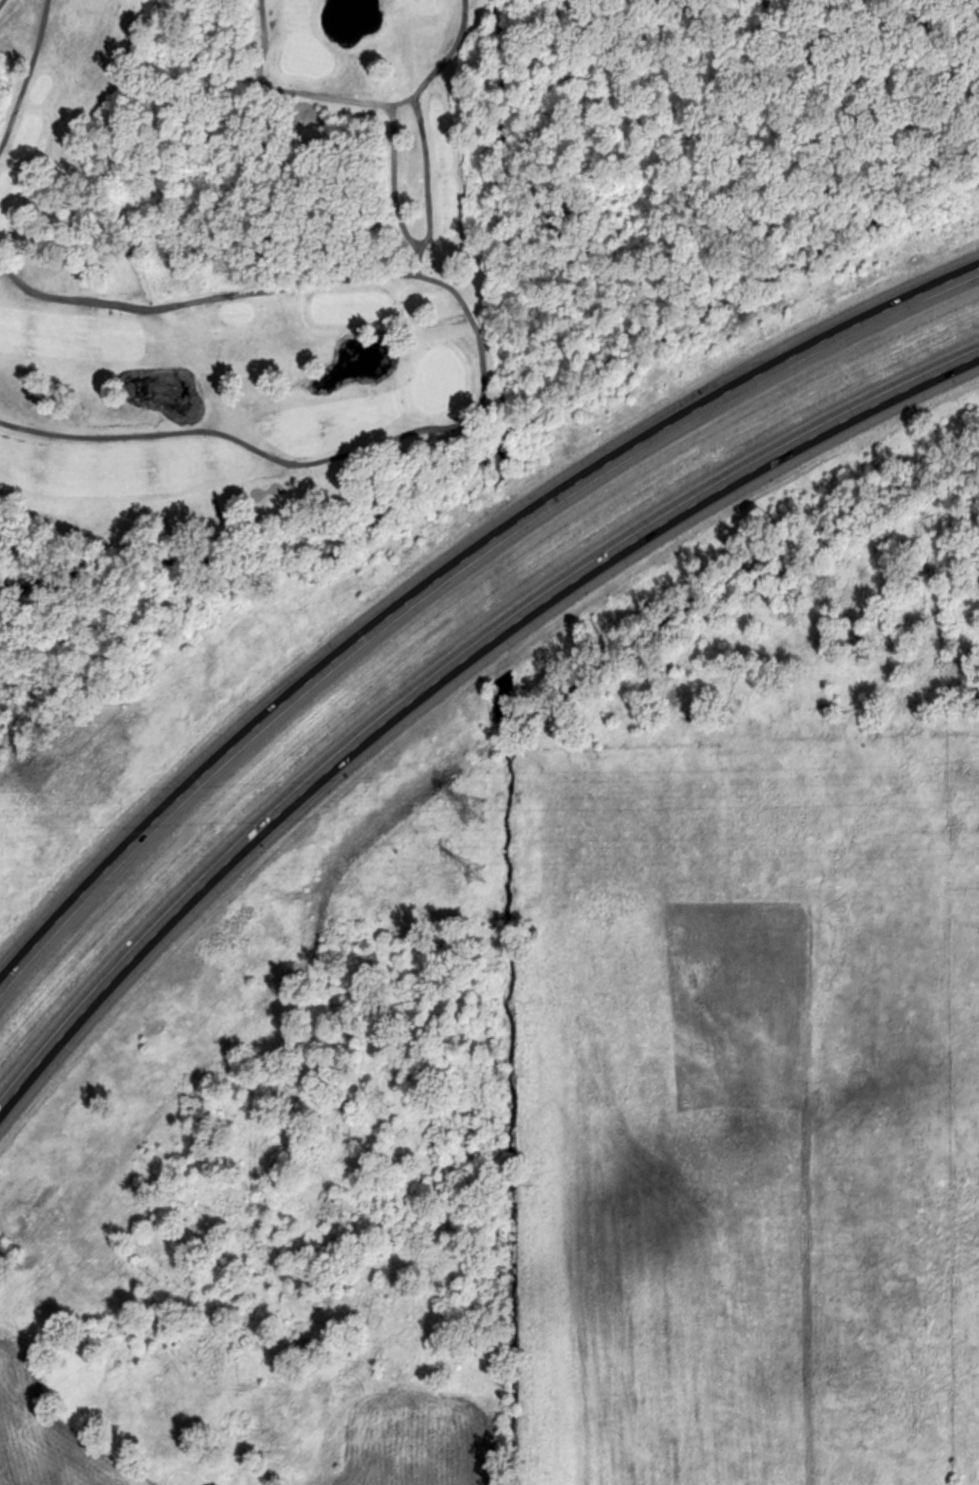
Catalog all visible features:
road: (1, 1)
road: (450, 53)
road: (30, 73)
road: (424, 158)
park: (243, 267)
road: (203, 300)
road: (483, 379)
road: (448, 573)
road: (445, 677)
power tower: (475, 809)
power tower: (475, 871)

